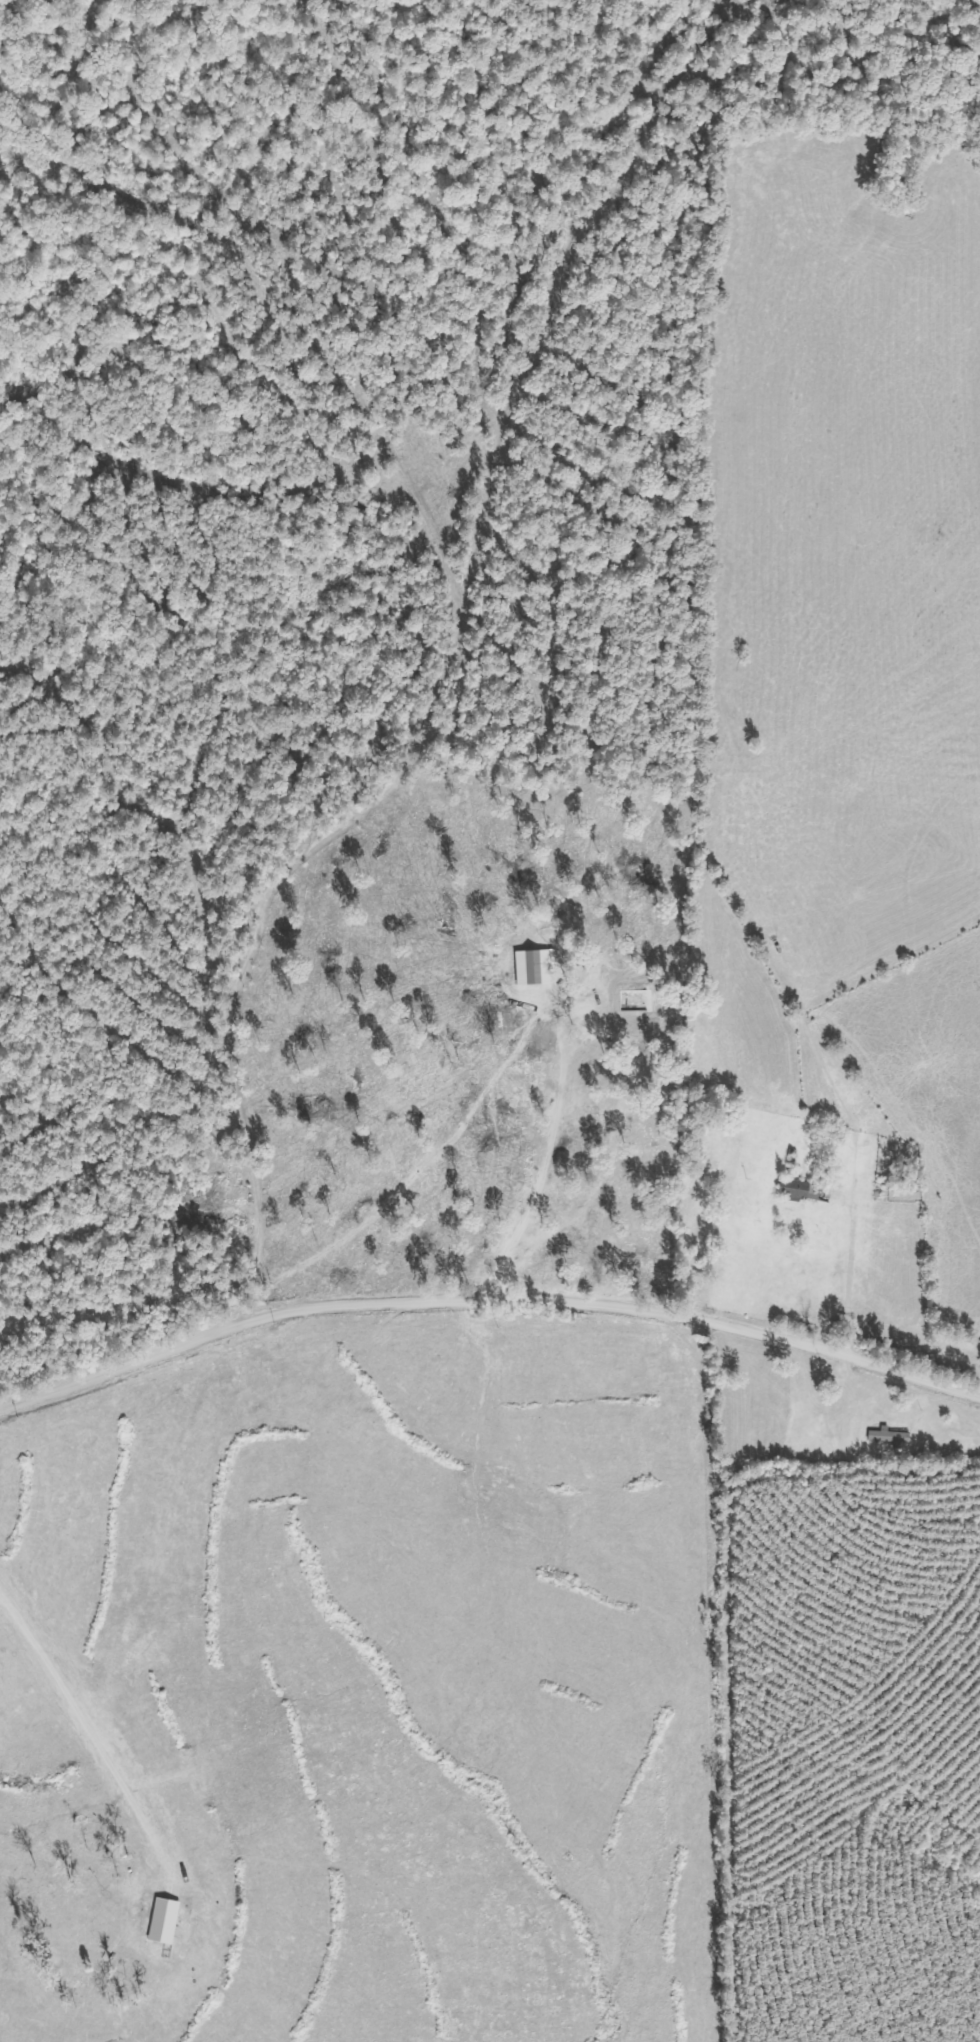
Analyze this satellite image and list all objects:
building: (794, 1189)
road: (489, 1299)
road: (723, 1400)
building: (886, 1435)

